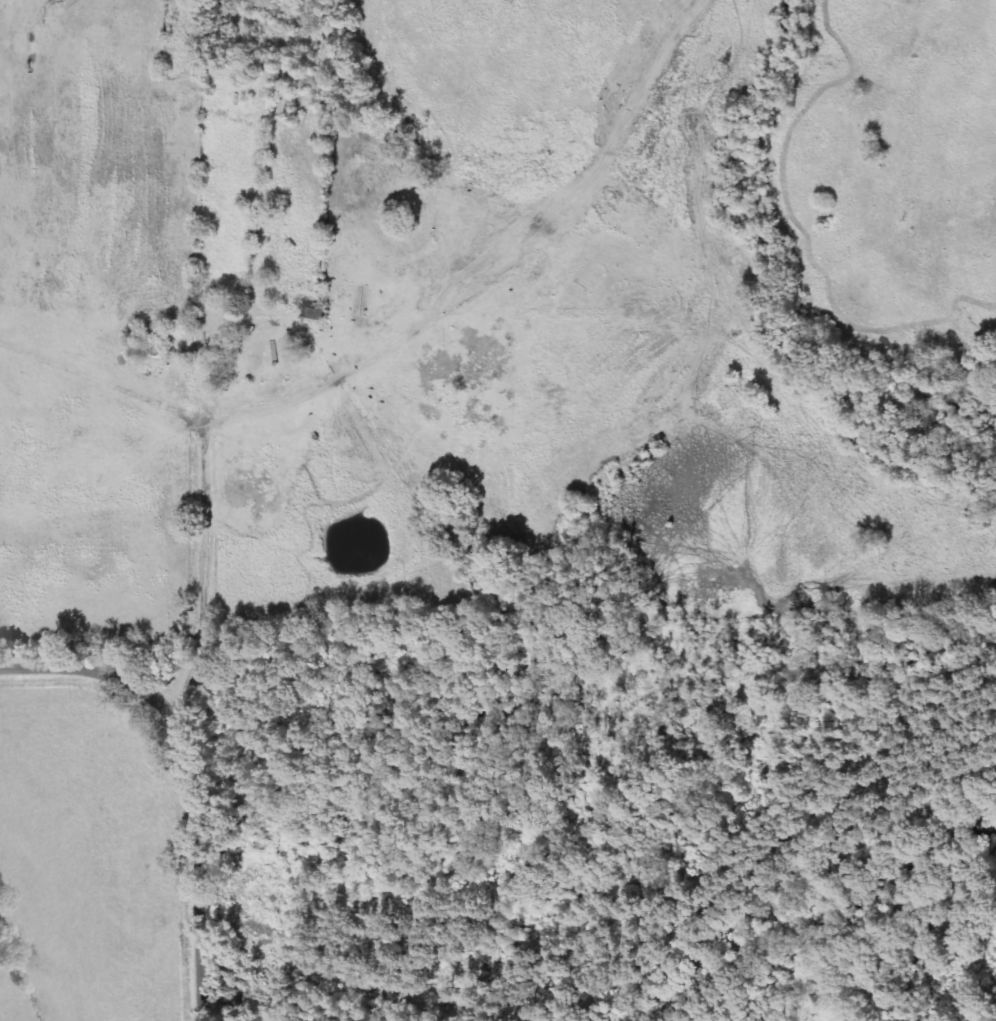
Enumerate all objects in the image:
road: (190, 773)

